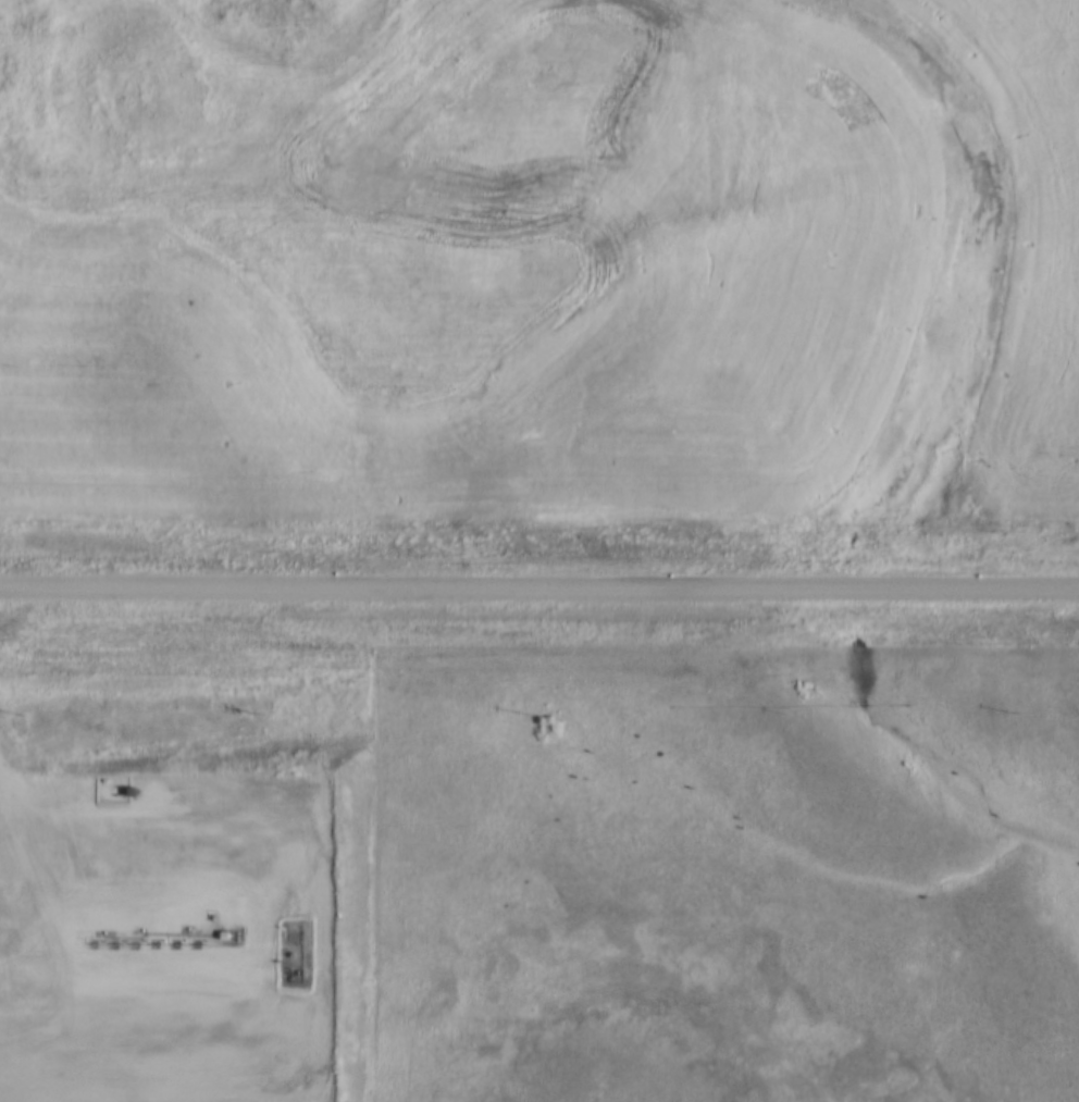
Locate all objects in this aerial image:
road: (539, 591)

